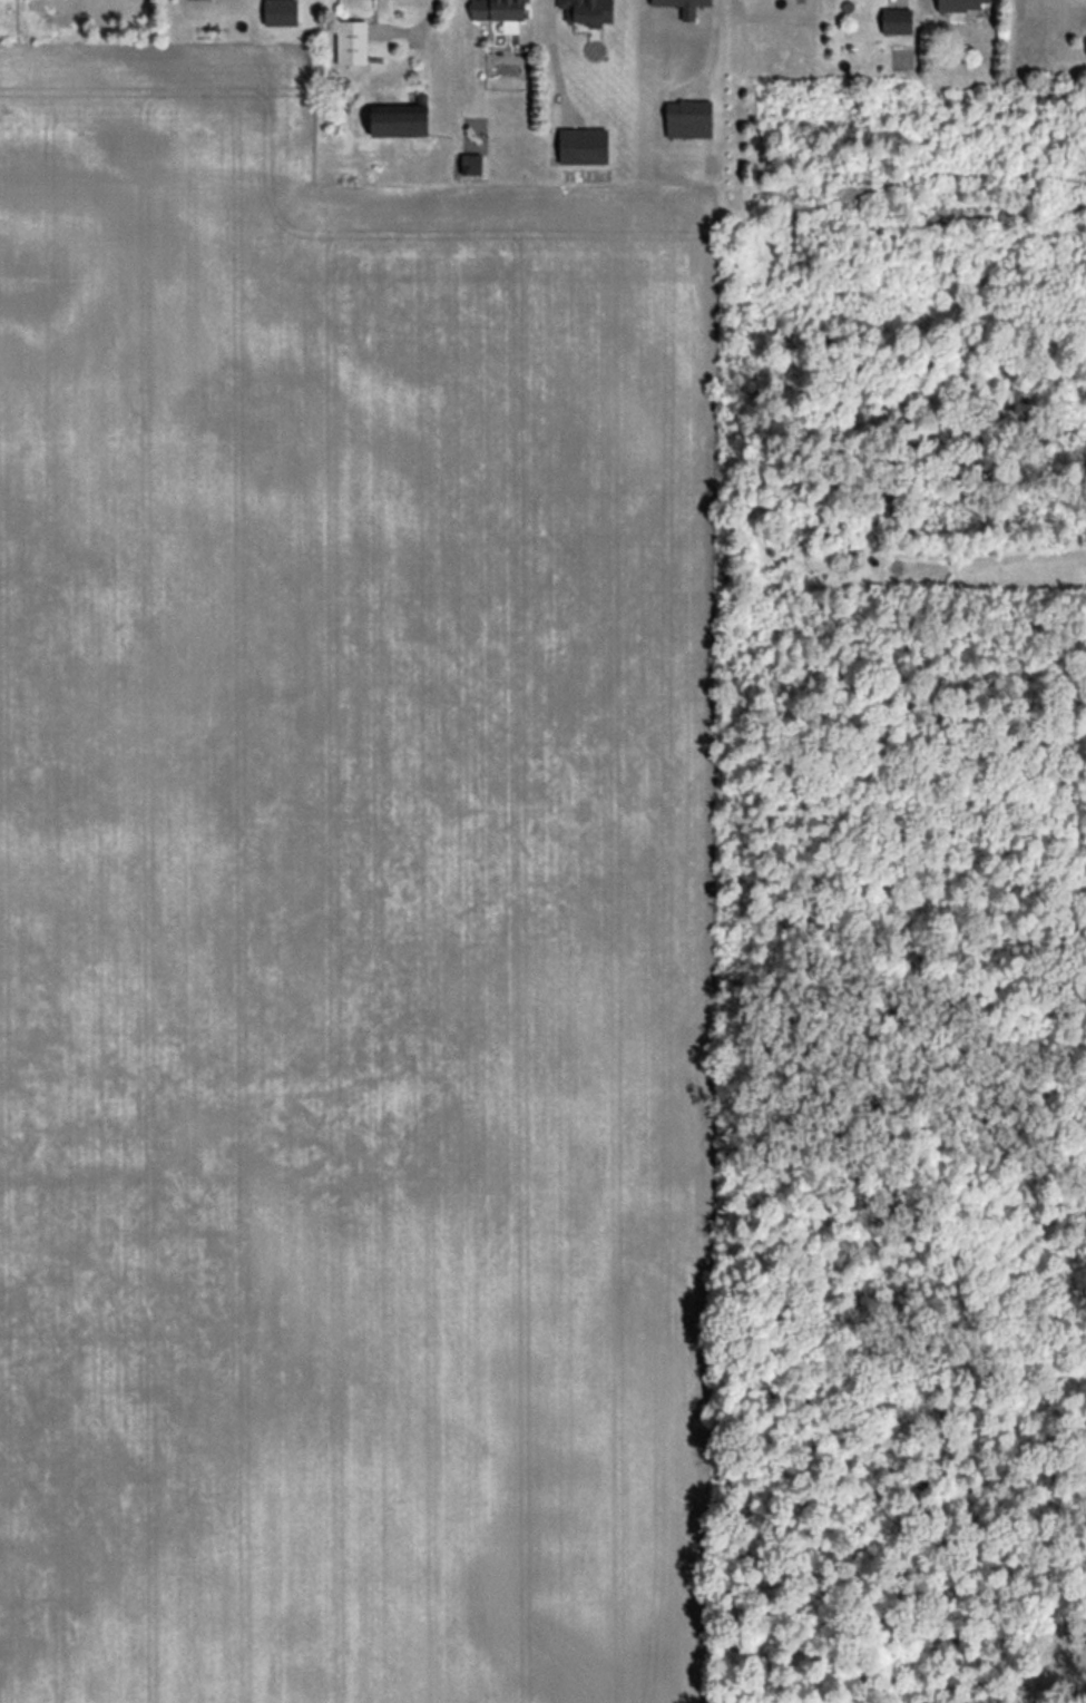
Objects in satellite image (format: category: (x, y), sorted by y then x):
building: (958, 4)
building: (682, 7)
building: (587, 11)
building: (896, 21)
road: (418, 26)
building: (351, 42)
building: (687, 119)
building: (398, 120)
building: (583, 146)

